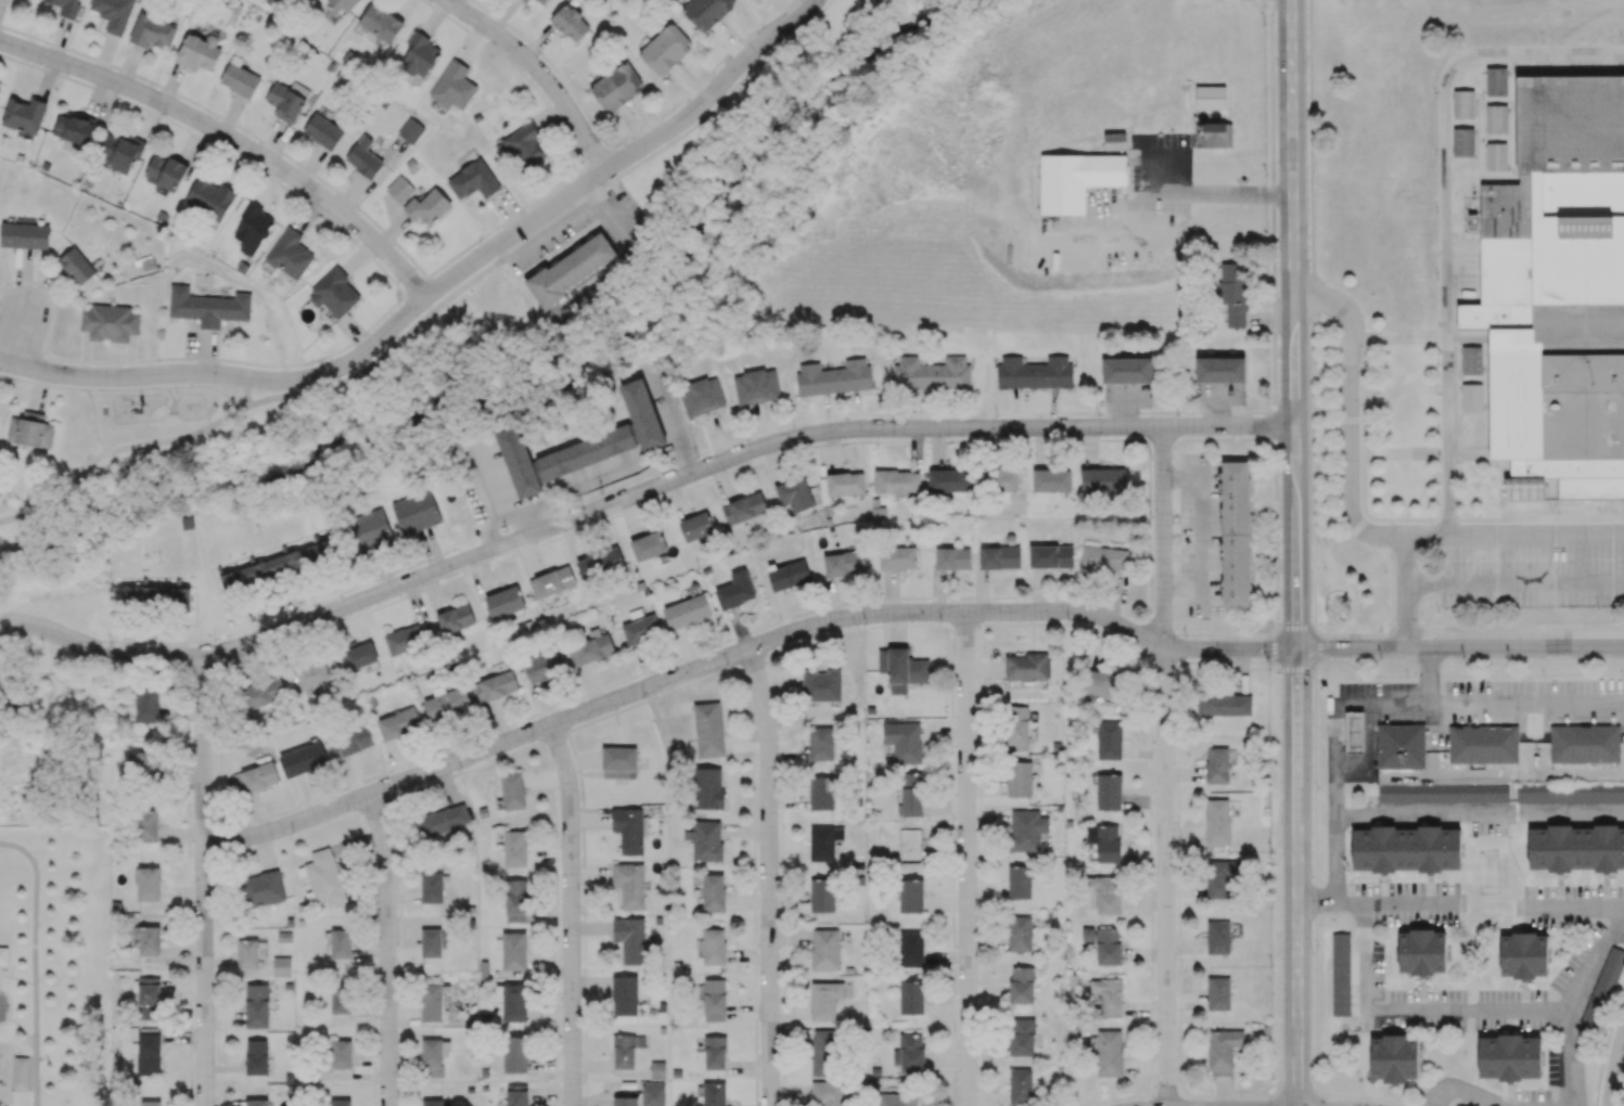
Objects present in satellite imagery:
building: (526, 0)
building: (541, 1)
building: (341, 5)
building: (65, 7)
building: (706, 12)
building: (113, 13)
building: (381, 23)
building: (570, 23)
building: (152, 31)
building: (665, 49)
building: (197, 51)
building: (420, 55)
road: (540, 72)
building: (239, 78)
building: (1496, 82)
building: (0, 85)
building: (452, 86)
building: (616, 87)
building: (1210, 97)
road: (720, 99)
building: (287, 100)
building: (1462, 105)
building: (24, 114)
building: (1496, 120)
building: (73, 128)
building: (410, 130)
building: (323, 131)
building: (1214, 134)
road: (232, 136)
building: (1114, 141)
building: (1463, 142)
building: (524, 145)
building: (118, 153)
building: (363, 157)
building: (1496, 157)
building: (164, 171)
building: (473, 180)
building: (1075, 180)
building: (399, 189)
road: (1217, 190)
building: (209, 197)
building: (427, 207)
road: (1444, 209)
road: (512, 216)
building: (252, 226)
building: (24, 235)
road: (494, 245)
building: (290, 254)
building: (78, 267)
building: (571, 269)
building: (1559, 284)
building: (334, 293)
building: (1232, 293)
building: (208, 305)
road: (431, 311)
building: (110, 322)
road: (1293, 323)
road: (15, 335)
building: (1471, 362)
building: (1219, 369)
building: (1126, 370)
building: (1034, 372)
building: (932, 373)
road: (65, 374)
building: (833, 377)
road: (42, 383)
road: (133, 386)
building: (756, 386)
road: (37, 393)
building: (701, 396)
building: (1472, 399)
road: (1180, 411)
building: (643, 412)
road: (1350, 417)
road: (1270, 423)
building: (29, 429)
road: (1222, 437)
road: (1161, 439)
road: (131, 447)
building: (586, 450)
road: (686, 455)
building: (519, 460)
building: (1103, 479)
building: (947, 480)
building: (1050, 480)
building: (896, 481)
building: (841, 485)
building: (794, 494)
park: (125, 496)
road: (635, 496)
road: (637, 505)
road: (506, 506)
building: (743, 507)
building: (415, 512)
building: (695, 526)
road: (1205, 528)
building: (369, 530)
building: (1236, 533)
road: (1514, 533)
road: (1160, 539)
building: (648, 545)
road: (430, 549)
building: (999, 556)
building: (1050, 556)
building: (897, 557)
building: (952, 557)
building: (1103, 558)
building: (844, 563)
building: (600, 564)
building: (279, 566)
parking lot: (1532, 570)
building: (789, 575)
building: (551, 581)
road: (1516, 584)
building: (736, 590)
road: (1407, 591)
building: (156, 596)
building: (504, 602)
building: (687, 612)
building: (455, 618)
building: (640, 629)
road: (232, 632)
building: (408, 638)
road: (133, 642)
road: (1459, 648)
building: (590, 650)
road: (1228, 653)
building: (359, 656)
building: (542, 666)
building: (1026, 666)
building: (901, 669)
building: (311, 673)
road: (1432, 676)
road: (677, 681)
building: (1103, 683)
building: (821, 685)
building: (495, 686)
building: (263, 693)
building: (446, 704)
building: (1226, 704)
road: (1424, 704)
building: (146, 705)
building: (398, 723)
building: (1018, 726)
building: (708, 729)
building: (1354, 730)
building: (1109, 740)
building: (903, 741)
building: (351, 742)
building: (1584, 743)
building: (820, 744)
building: (1483, 744)
building: (1401, 746)
building: (303, 759)
building: (618, 762)
building: (140, 763)
building: (1216, 764)
building: (256, 776)
building: (1019, 779)
building: (707, 787)
building: (512, 790)
building: (822, 792)
building: (1109, 792)
building: (1443, 793)
building: (1551, 794)
building: (910, 795)
road: (1479, 819)
building: (442, 820)
building: (1217, 824)
building: (146, 826)
building: (629, 828)
building: (1026, 829)
building: (705, 840)
building: (1104, 841)
building: (823, 843)
building: (514, 847)
building: (1575, 848)
building: (1405, 849)
road: (964, 860)
road: (1333, 863)
road: (1159, 876)
road: (1296, 876)
road: (770, 877)
building: (1220, 877)
building: (323, 878)
road: (205, 879)
building: (1019, 882)
building: (148, 883)
building: (629, 884)
building: (431, 887)
building: (263, 888)
building: (713, 892)
building: (1107, 893)
building: (821, 895)
building: (910, 896)
building: (515, 900)
road: (1393, 906)
road: (1575, 906)
road: (1315, 909)
road: (573, 915)
building: (1019, 934)
building: (1087, 934)
building: (1217, 937)
building: (144, 938)
building: (629, 939)
building: (431, 942)
building: (341, 943)
building: (712, 946)
building: (1108, 946)
building: (824, 949)
building: (910, 949)
road: (392, 950)
building: (513, 951)
building: (1421, 951)
building: (247, 953)
building: (3, 954)
building: (1522, 955)
road: (38, 962)
park: (54, 964)
building: (281, 966)
road: (0, 968)
building: (1340, 974)
road: (18, 979)
building: (1021, 985)
building: (1603, 988)
building: (1218, 993)
building: (625, 995)
building: (1108, 995)
building: (911, 996)
building: (149, 998)
building: (341, 999)
building: (824, 999)
building: (714, 1000)
building: (514, 1002)
building: (431, 1003)
building: (257, 1005)
road: (1567, 1008)
road: (1411, 1014)
road: (13, 1020)
building: (1021, 1037)
building: (626, 1050)
building: (1223, 1051)
building: (715, 1052)
building: (821, 1052)
building: (909, 1052)
building: (1109, 1053)
building: (341, 1054)
building: (514, 1054)
building: (433, 1055)
building: (256, 1056)
building: (1393, 1057)
building: (1509, 1057)
building: (657, 1069)
building: (22, 1072)
road: (1616, 1076)
building: (1020, 1086)
building: (653, 1093)
building: (827, 1093)
building: (516, 1094)
building: (714, 1094)
road: (1463, 1096)
building: (896, 1099)
building: (626, 1101)
building: (256, 1102)
building: (340, 1102)
building: (432, 1102)
building: (150, 1103)

